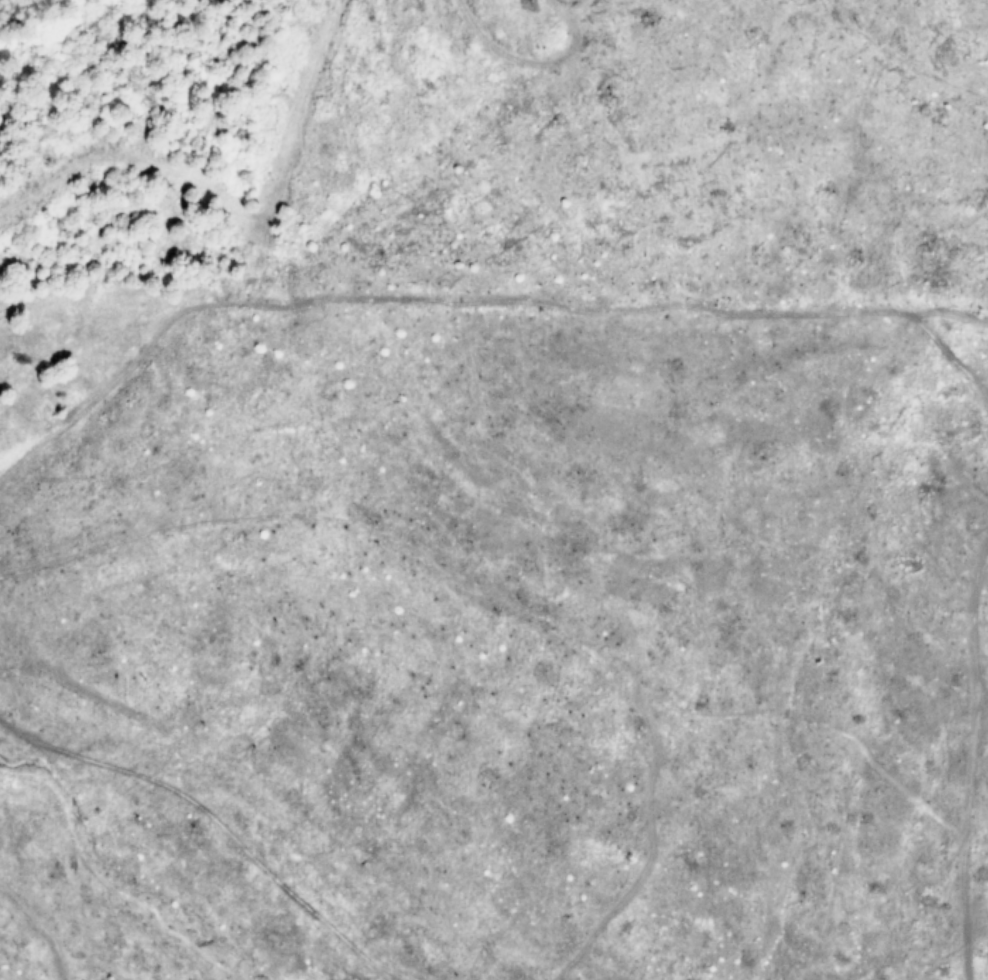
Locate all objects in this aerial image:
power tower: (518, 10)

